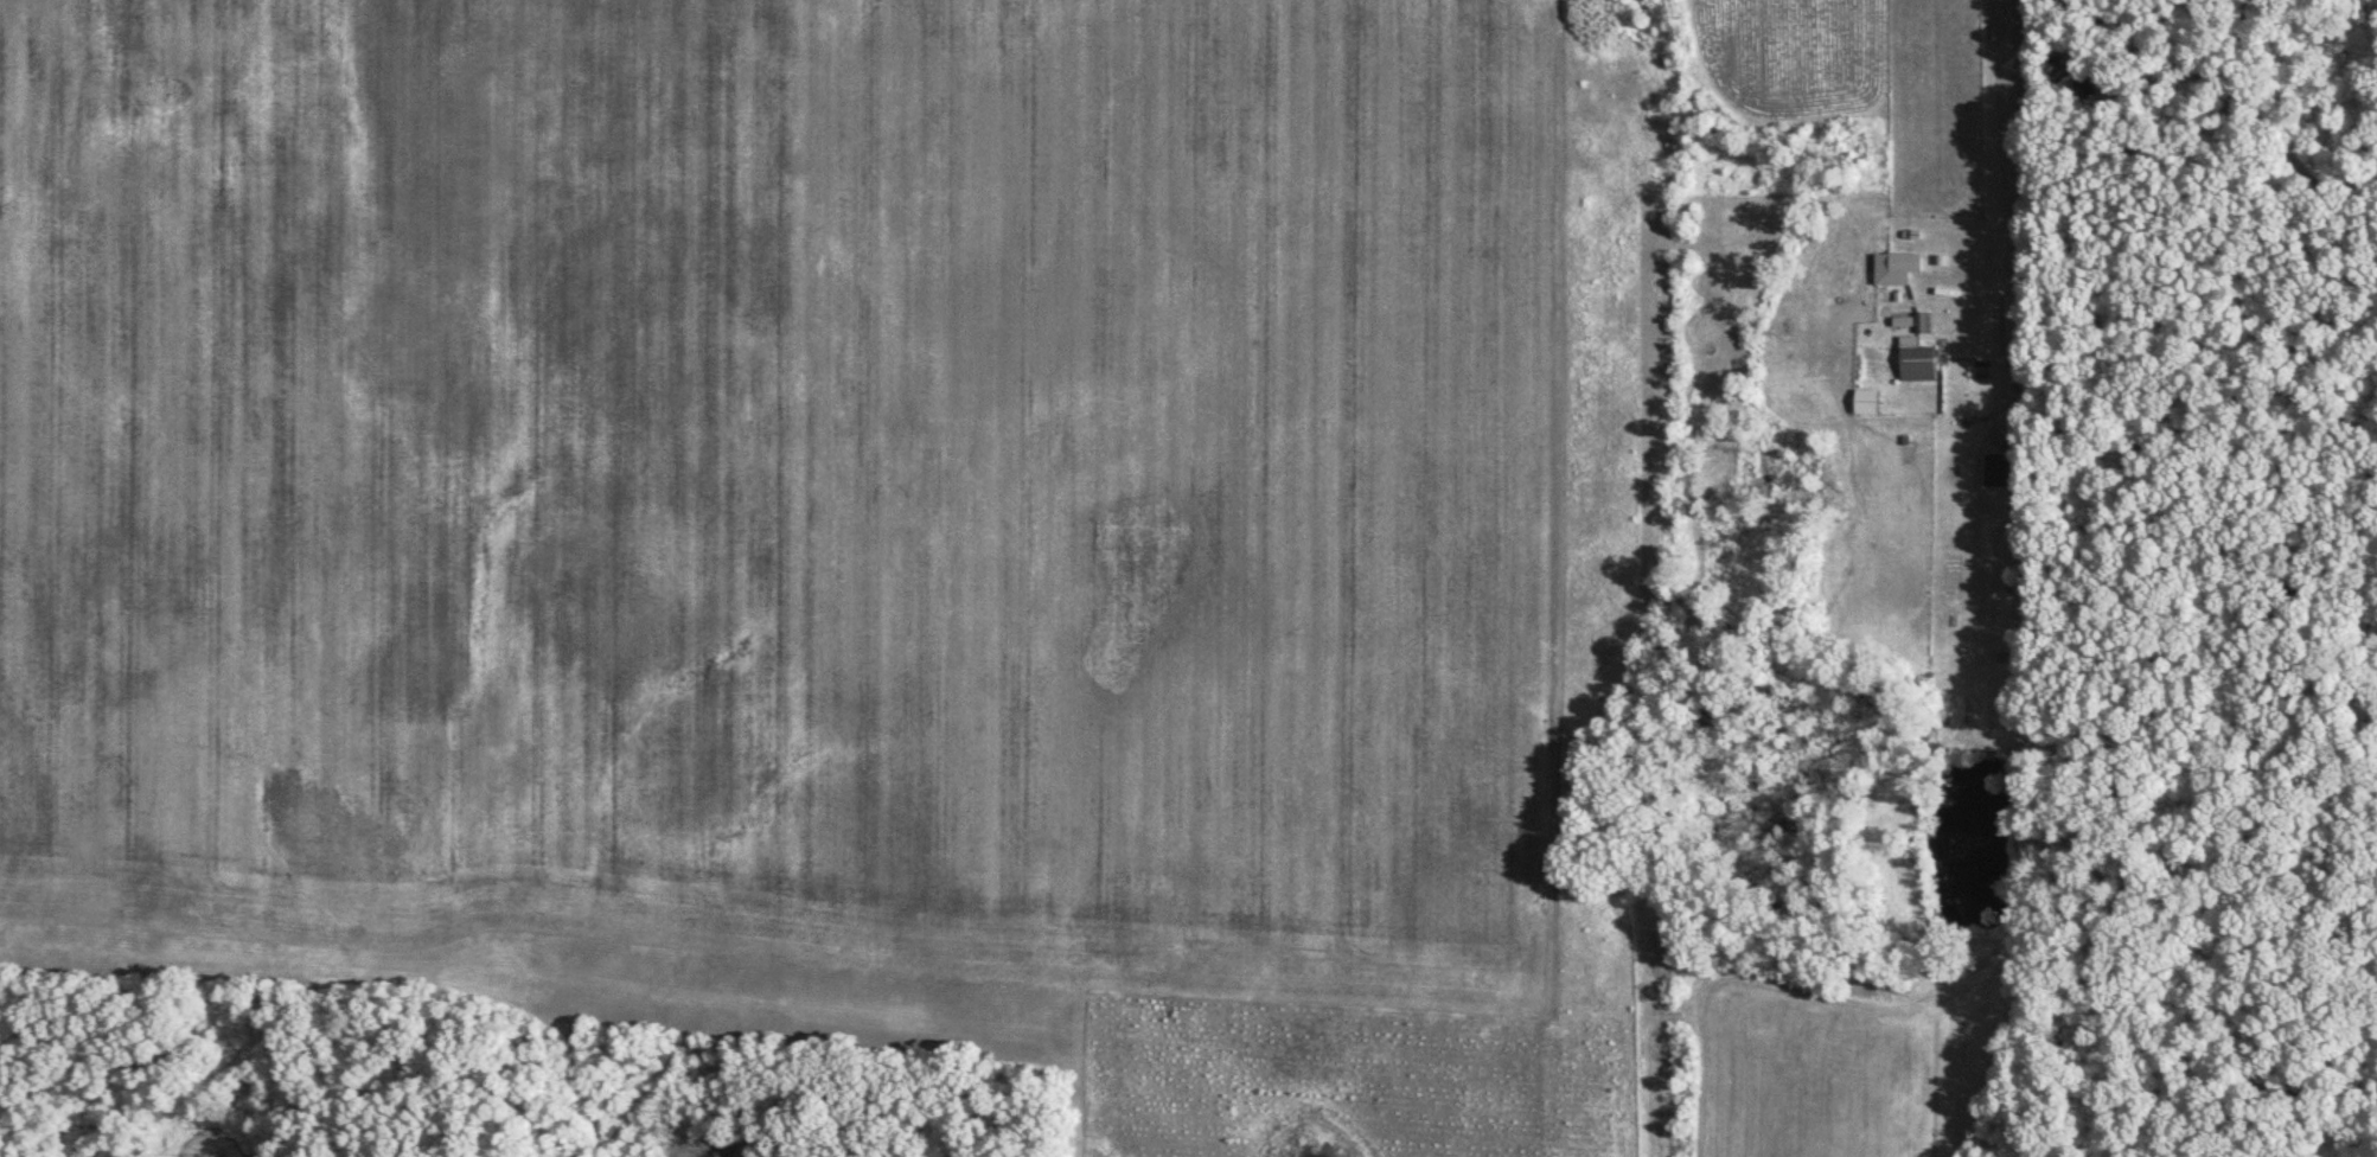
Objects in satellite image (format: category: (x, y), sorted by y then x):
building: (1896, 266)
building: (1916, 358)
building: (1864, 401)

